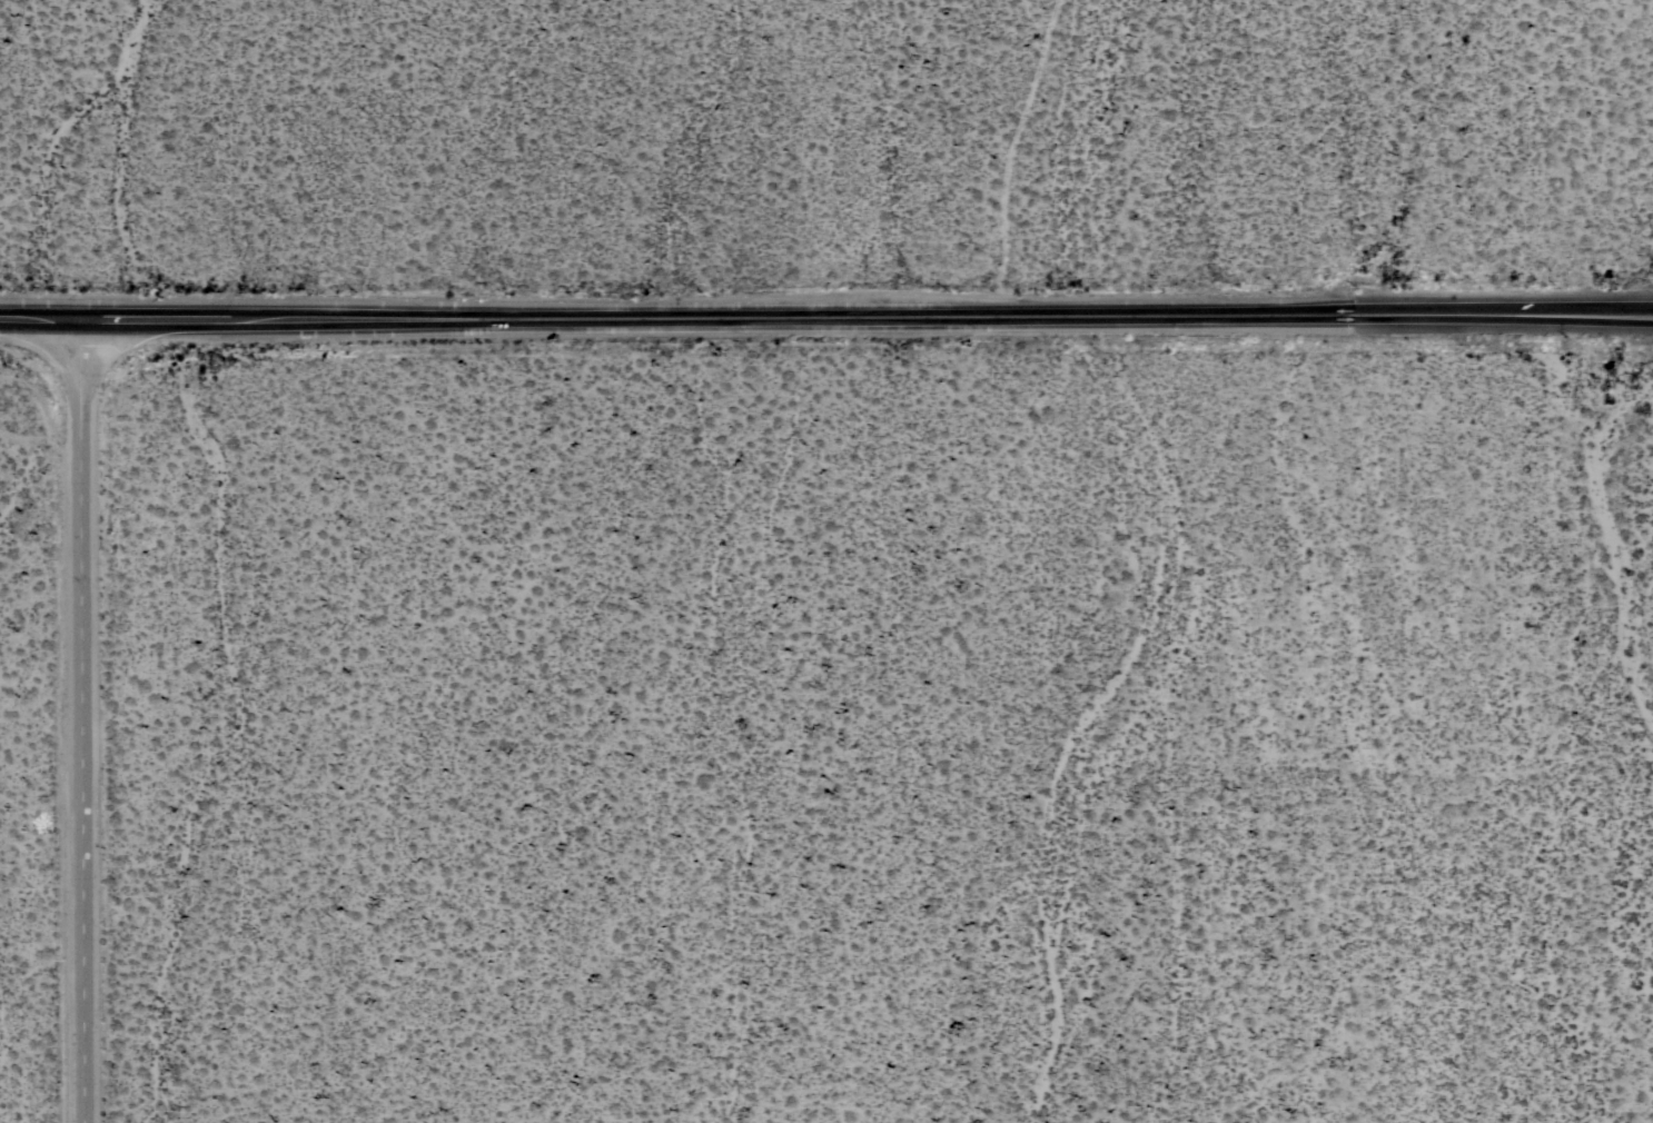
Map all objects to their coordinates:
road: (1631, 309)
road: (1631, 311)
road: (804, 316)
road: (85, 722)

